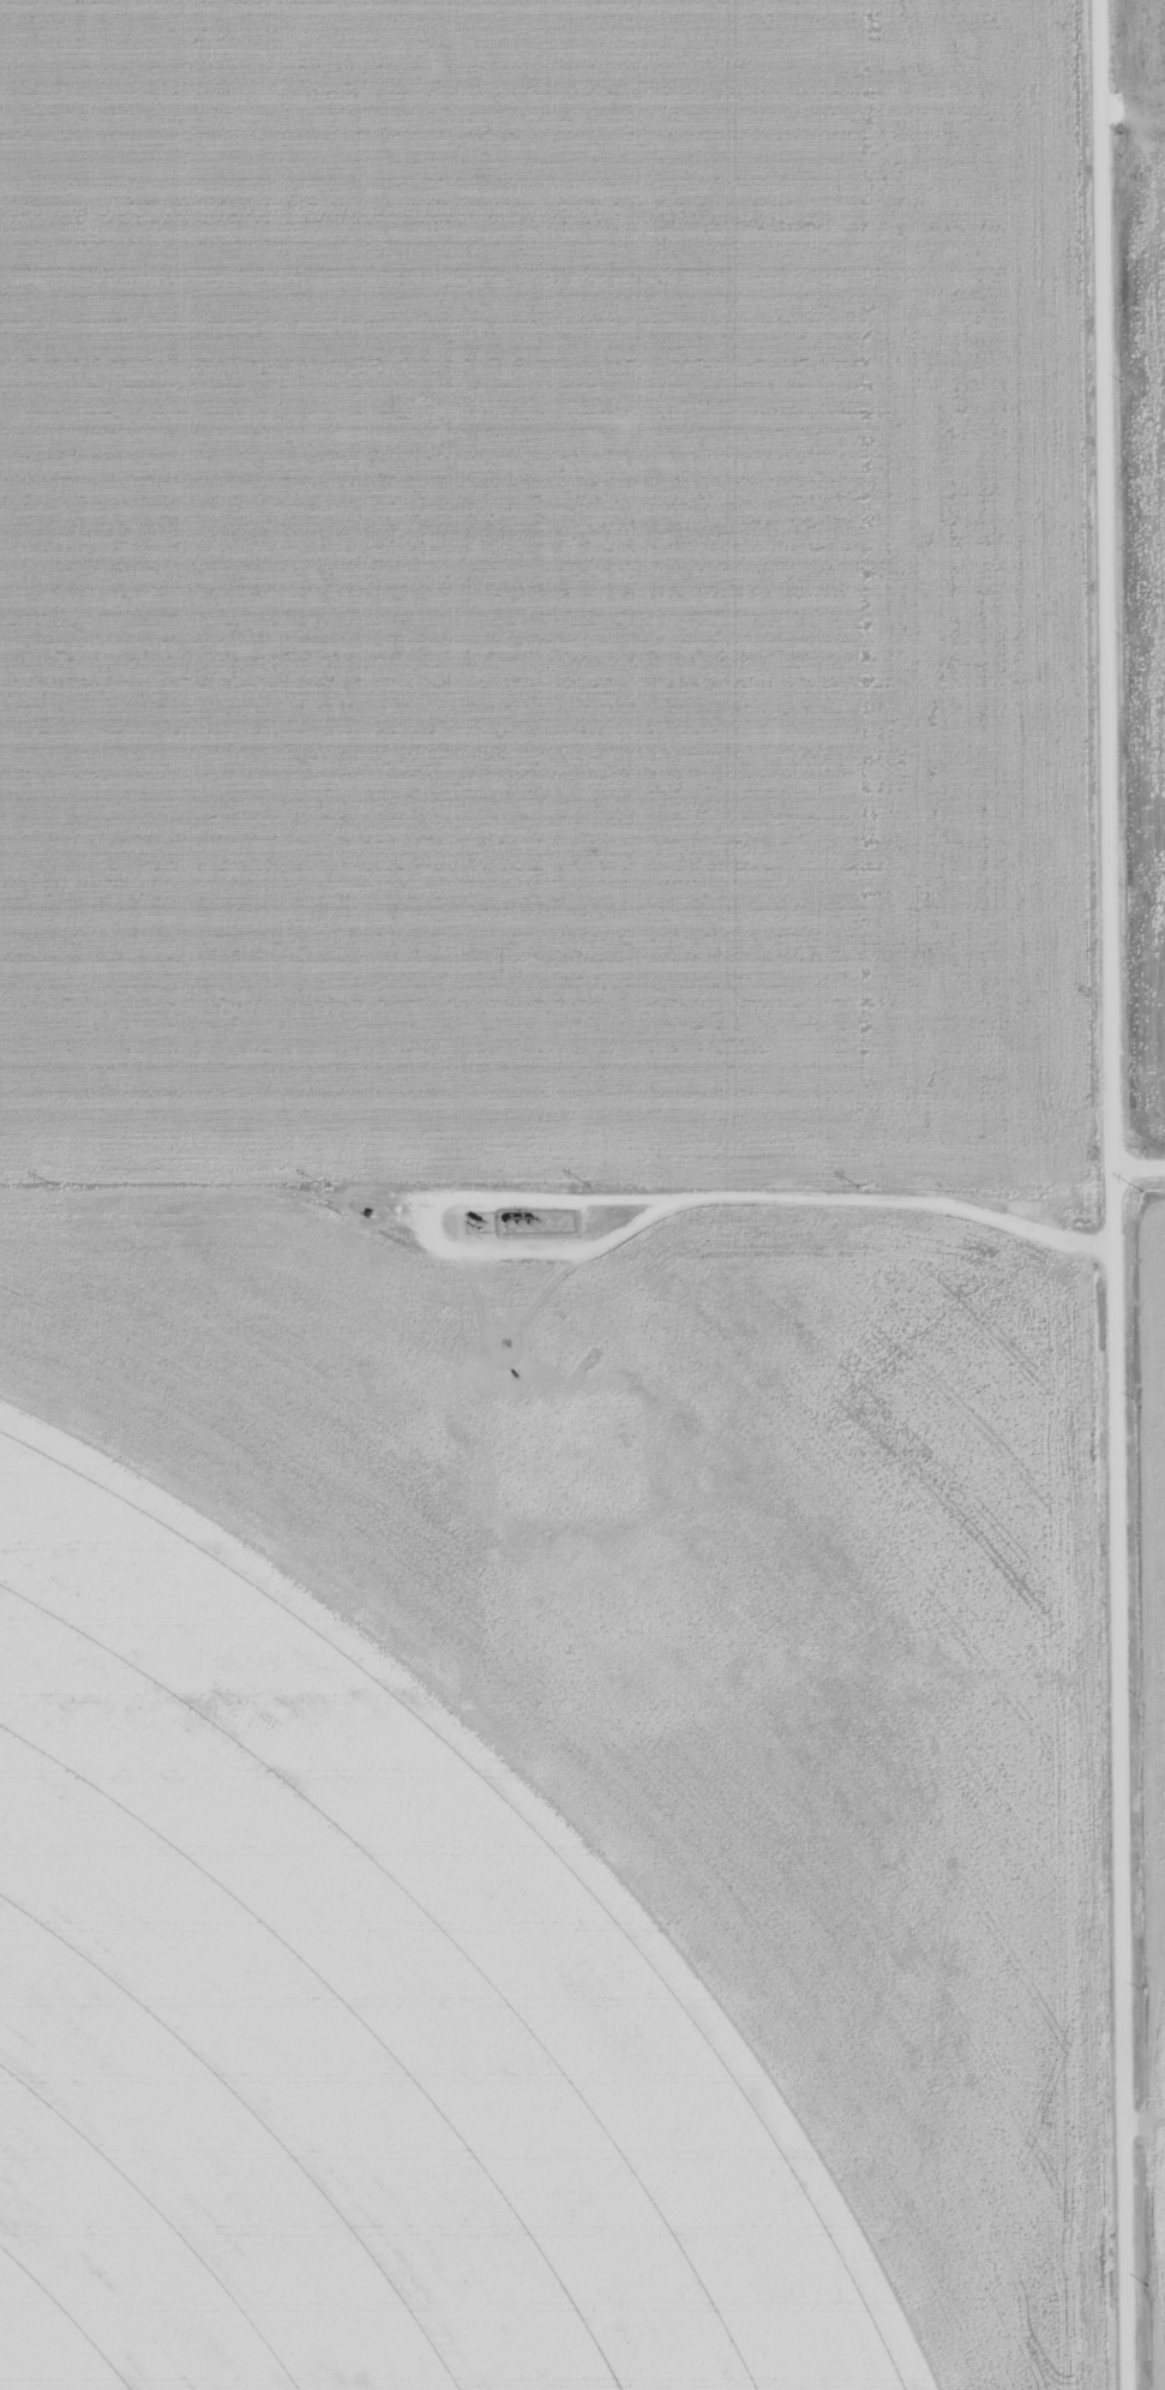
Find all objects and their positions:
road: (1141, 1163)
road: (559, 1172)
road: (1118, 1194)

